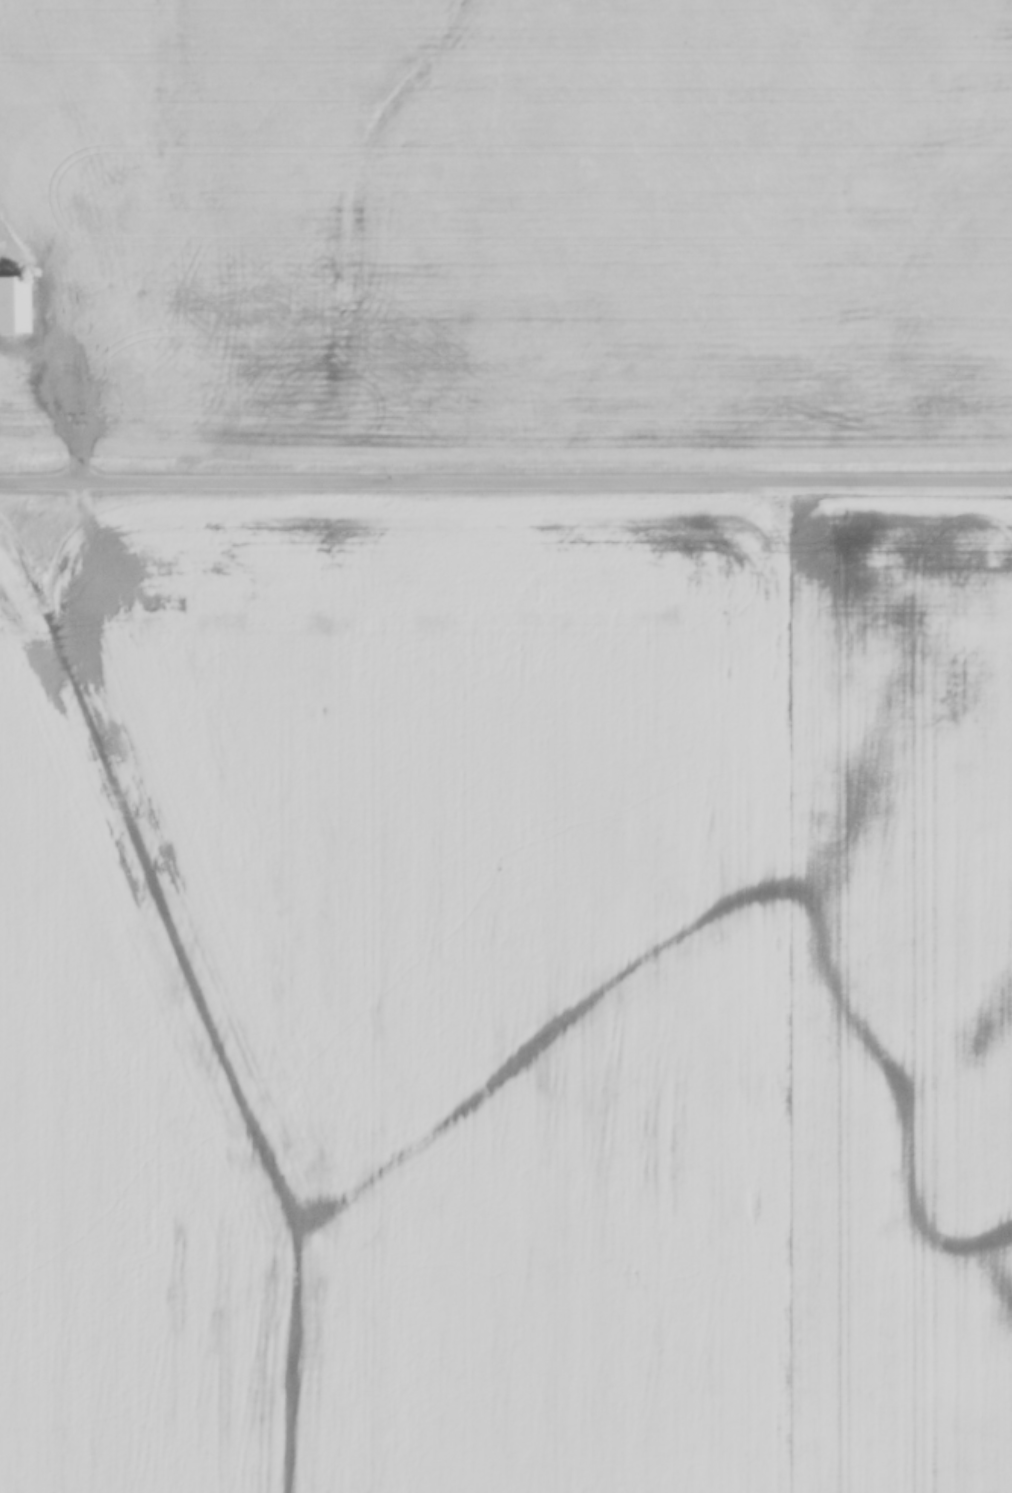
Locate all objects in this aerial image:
building: (14, 303)
road: (505, 476)

